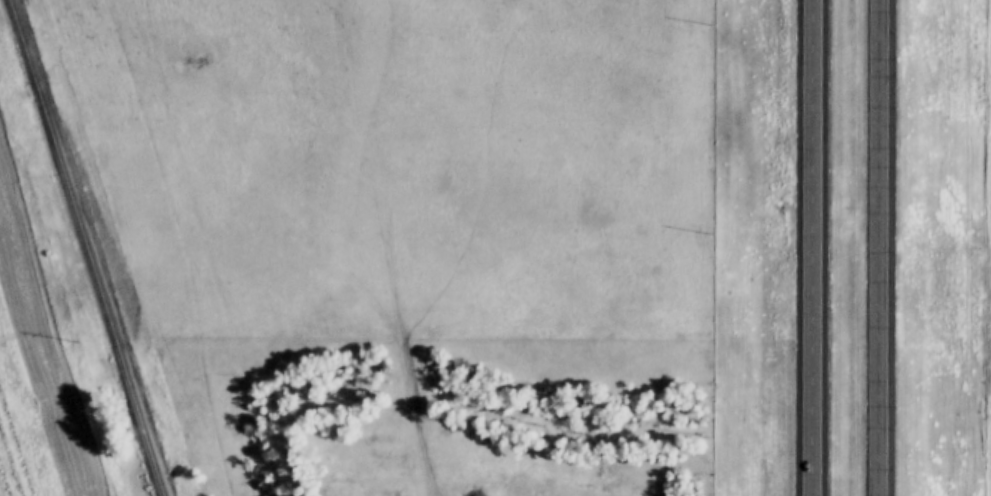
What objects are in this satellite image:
railway: (107, 247)
road: (816, 248)
road: (881, 248)
quarry: (18, 438)

